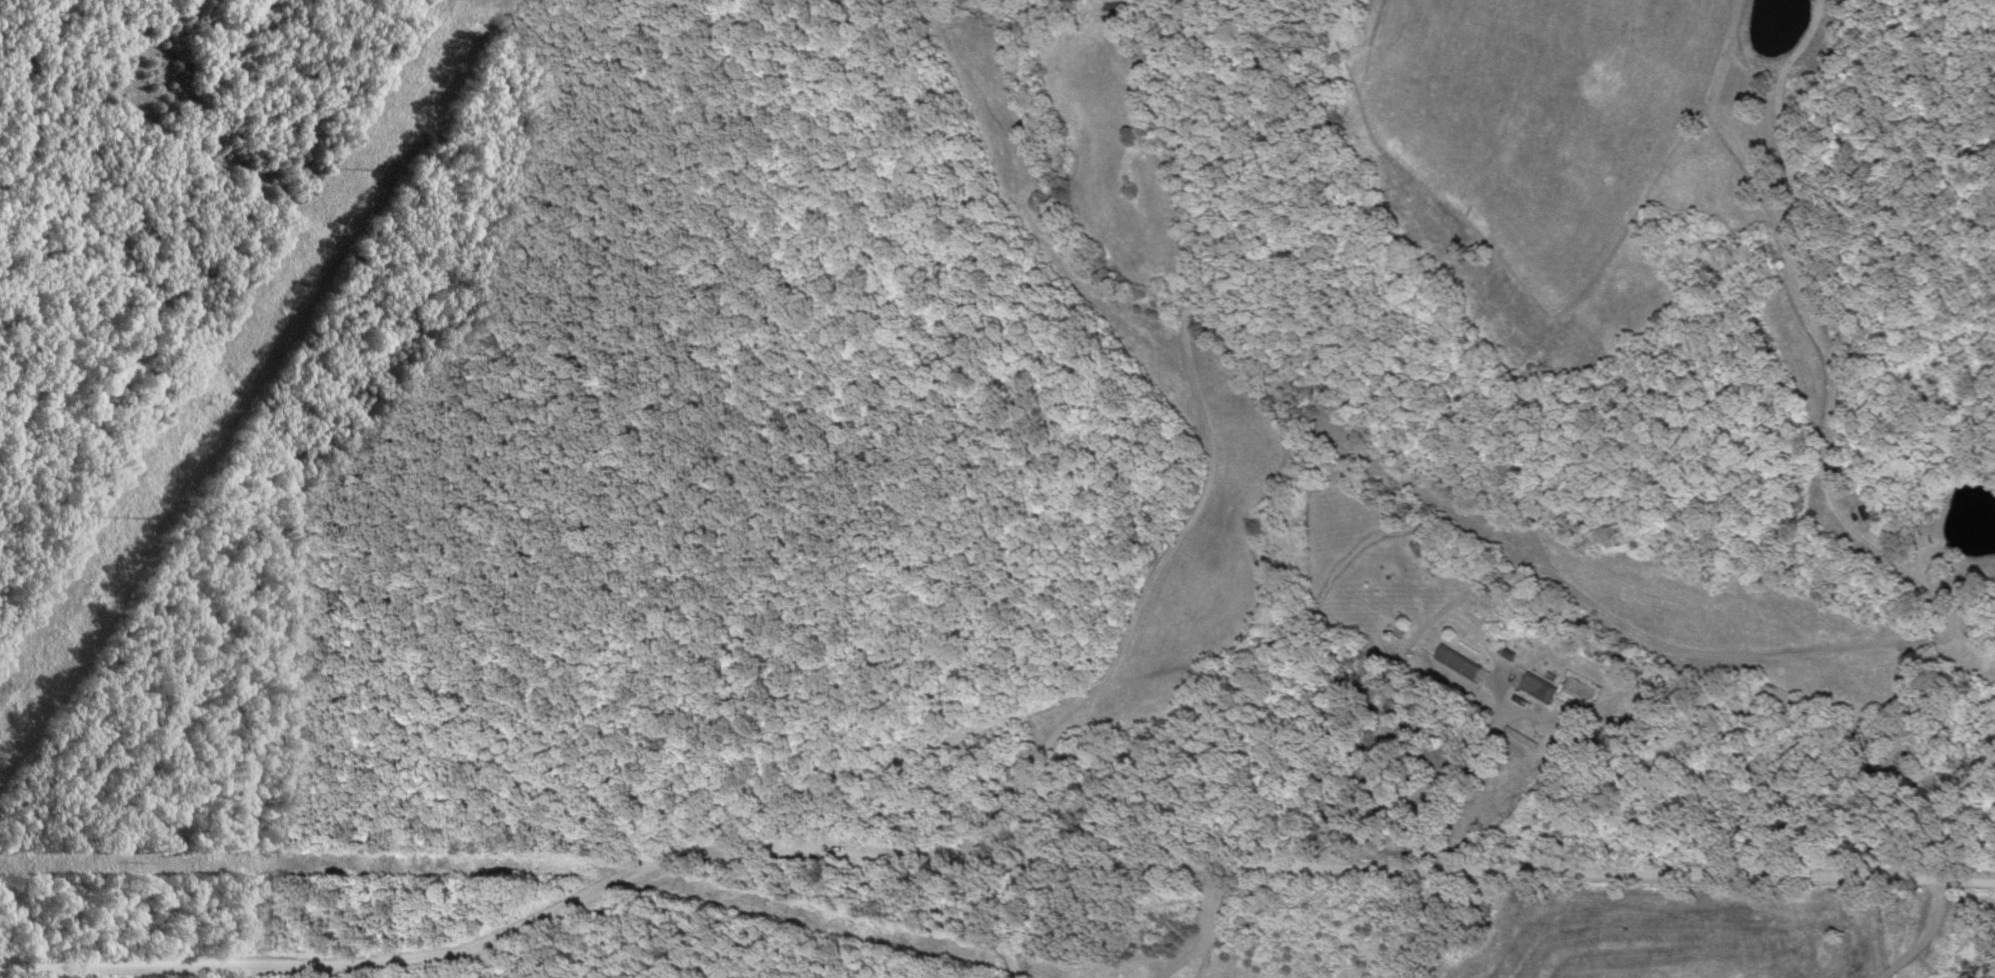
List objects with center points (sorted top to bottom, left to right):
road: (1212, 458)
building: (1455, 664)
building: (1536, 690)
road: (1427, 789)
road: (980, 855)
road: (933, 906)

